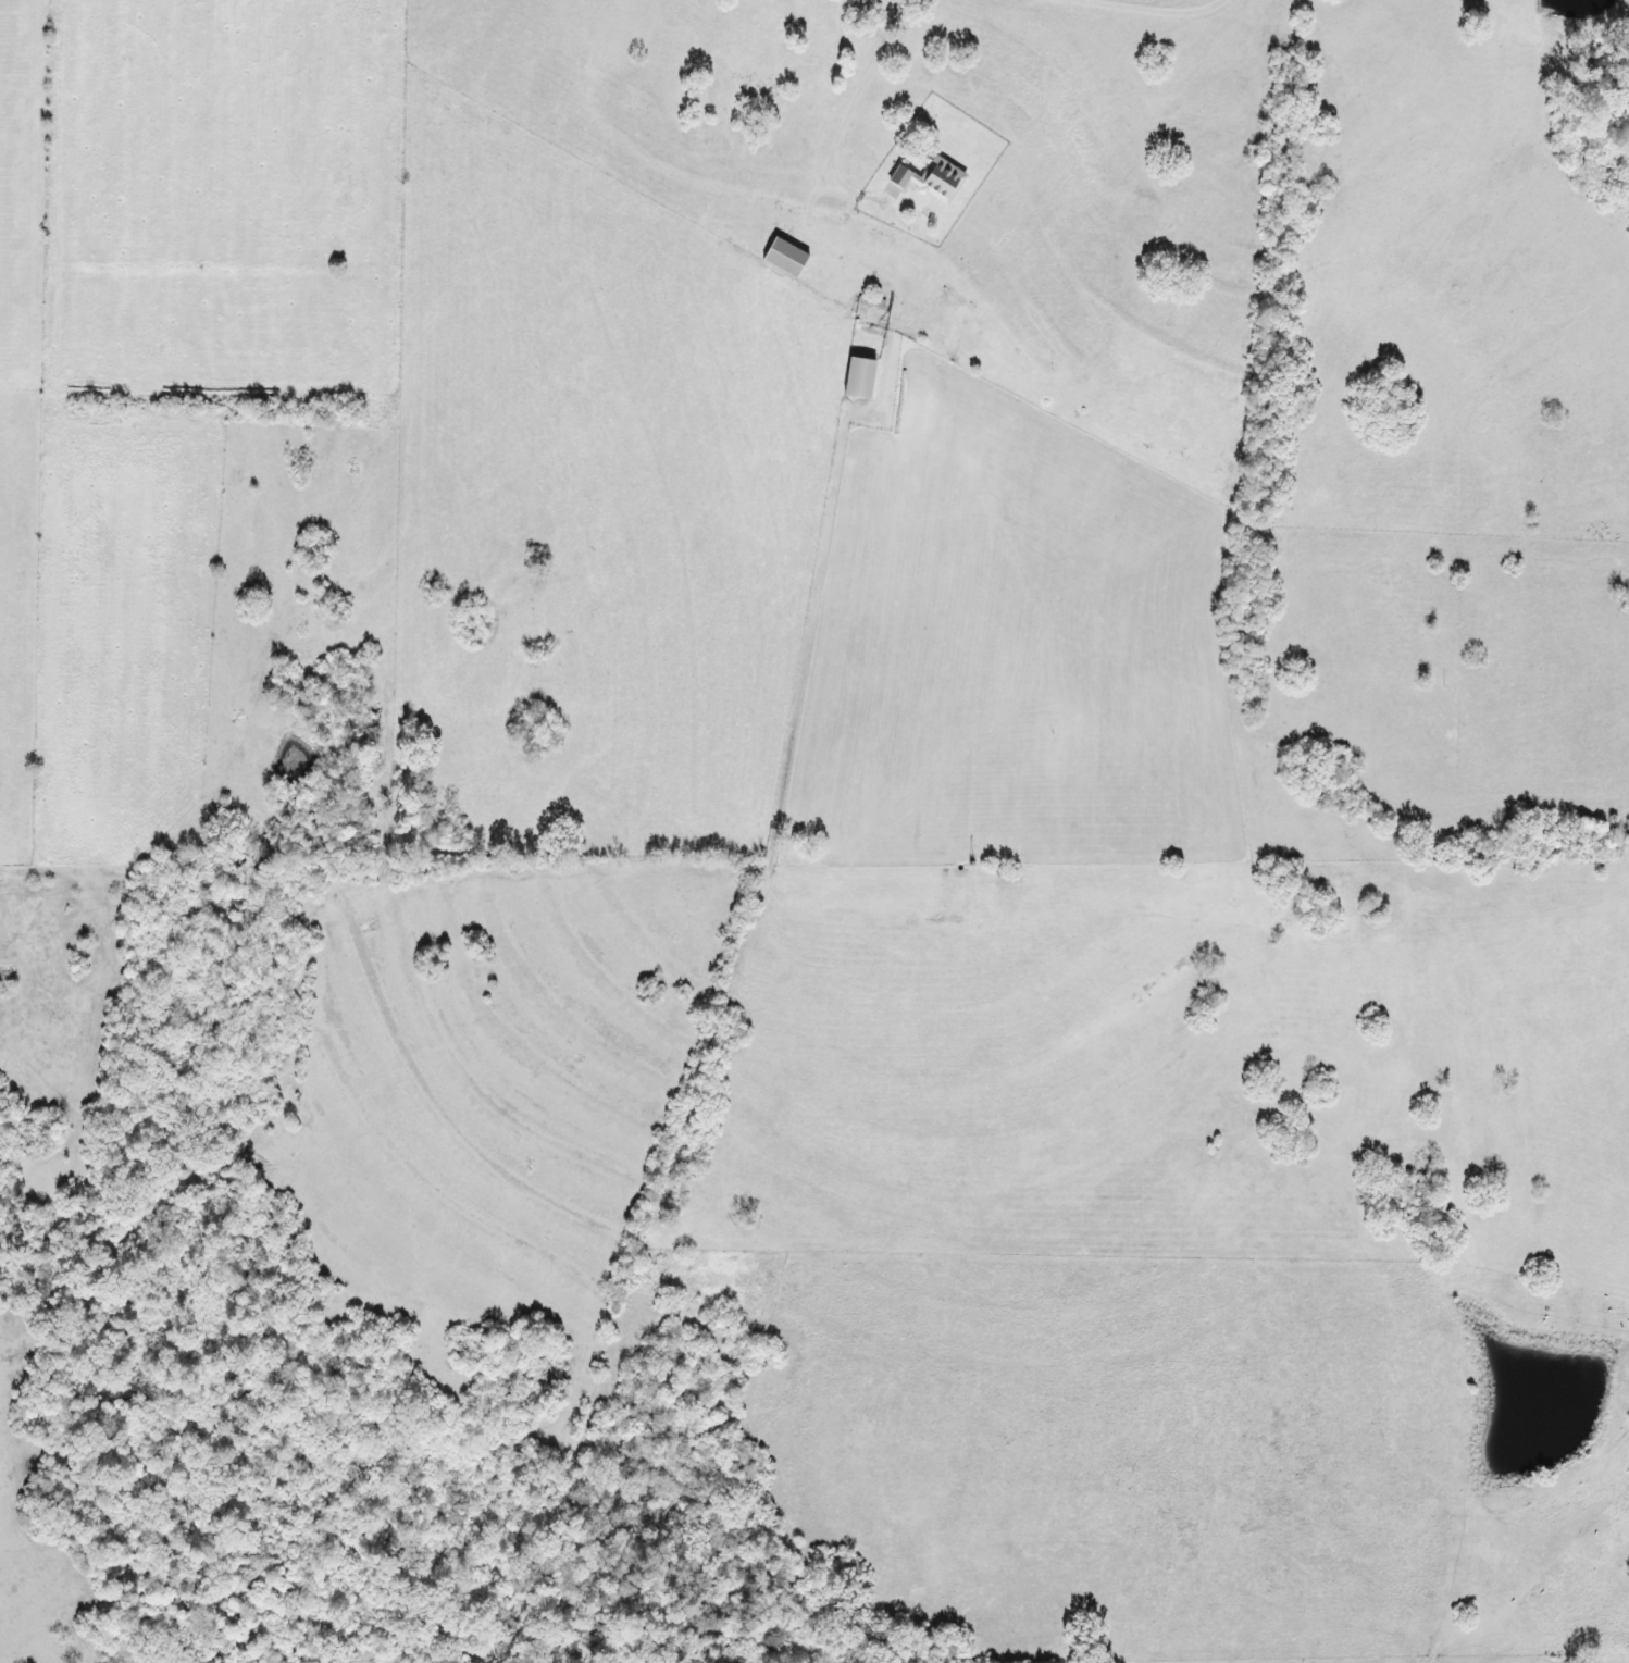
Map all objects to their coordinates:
building: (920, 181)
building: (778, 258)
building: (851, 378)

